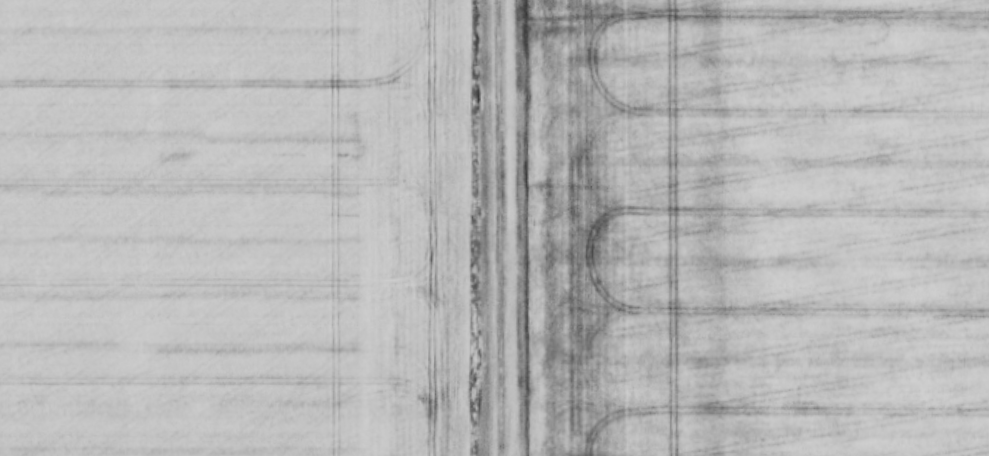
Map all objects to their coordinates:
road: (501, 227)
crop: (762, 227)
crop: (234, 228)

